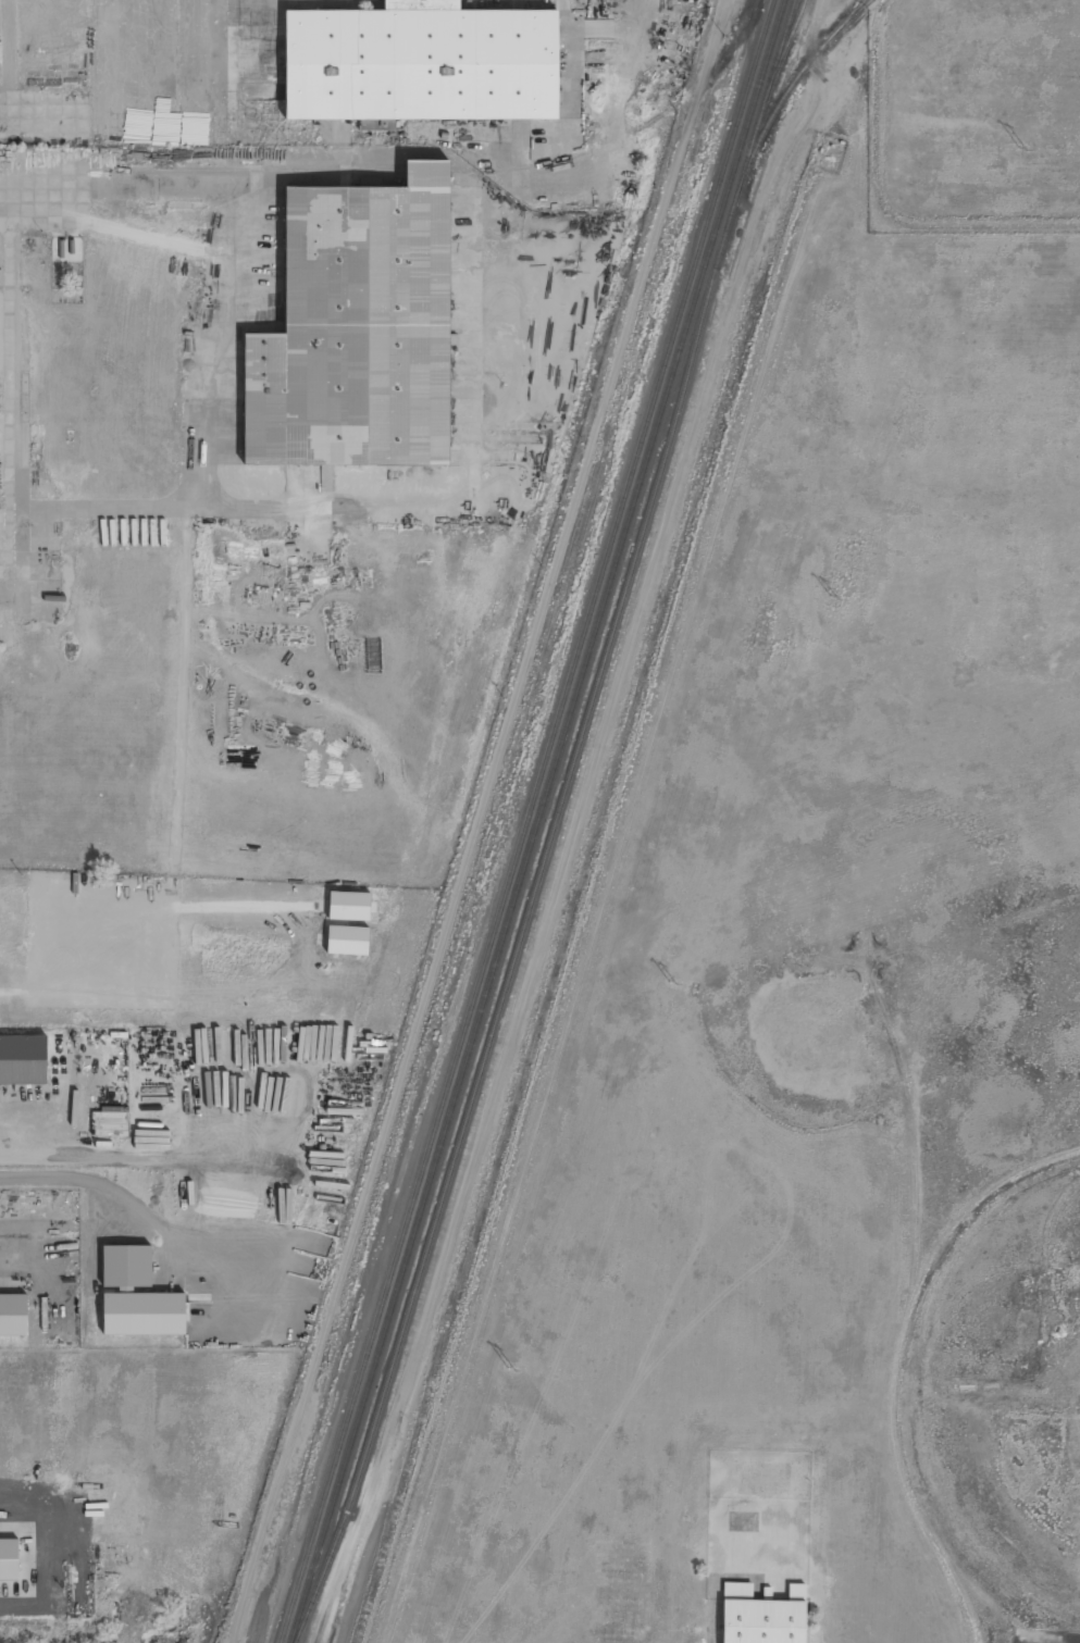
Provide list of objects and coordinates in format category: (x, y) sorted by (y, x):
railway: (855, 13)
railway: (791, 37)
building: (421, 64)
railway: (787, 92)
power tower: (1023, 150)
building: (358, 331)
power tower: (832, 598)
railway: (527, 821)
railway: (536, 821)
railway: (556, 824)
building: (349, 907)
power tower: (670, 984)
building: (23, 1060)
building: (145, 1314)
building: (13, 1315)
power tower: (507, 1368)
building: (9, 1559)
building: (762, 1616)

